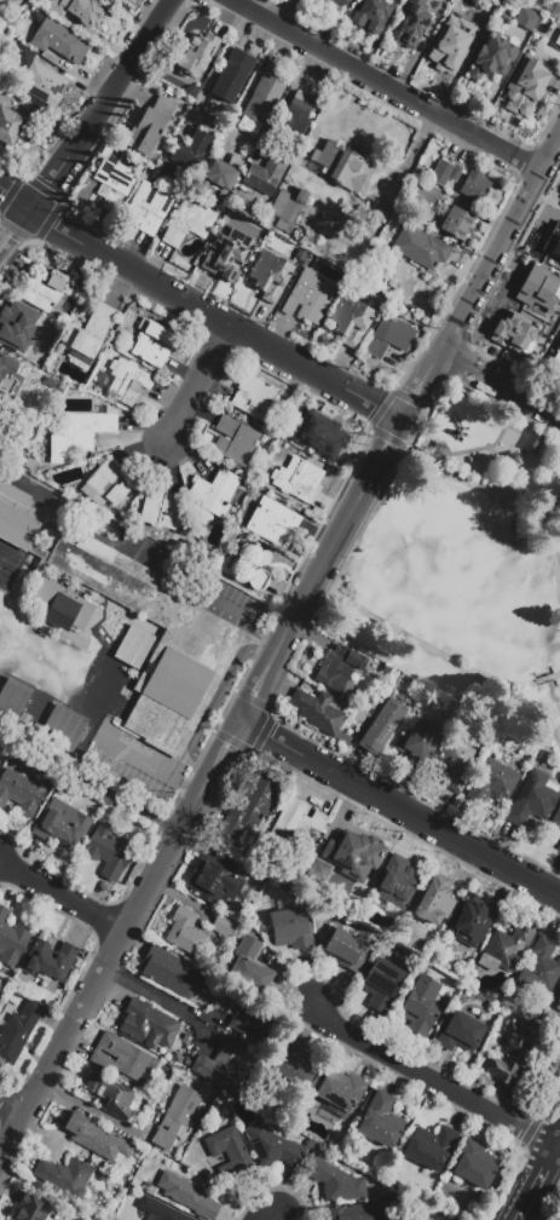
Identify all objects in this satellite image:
building: (110, 0)
building: (335, 2)
building: (13, 4)
building: (29, 5)
building: (554, 11)
building: (80, 12)
building: (373, 16)
building: (529, 23)
building: (480, 24)
building: (411, 25)
building: (60, 45)
building: (448, 51)
building: (195, 56)
building: (23, 58)
building: (491, 61)
road: (218, 65)
building: (233, 79)
road: (386, 84)
building: (44, 87)
building: (525, 88)
road: (285, 97)
road: (100, 104)
building: (262, 107)
building: (299, 115)
building: (151, 130)
building: (16, 132)
building: (191, 154)
building: (340, 169)
building: (115, 174)
building: (446, 175)
building: (221, 178)
building: (266, 178)
building: (477, 191)
building: (425, 195)
building: (106, 205)
building: (150, 211)
building: (289, 211)
building: (457, 225)
building: (190, 226)
road: (13, 228)
road: (500, 240)
building: (553, 241)
building: (422, 251)
building: (232, 257)
building: (271, 278)
building: (537, 288)
building: (47, 290)
building: (310, 301)
road: (200, 307)
building: (352, 324)
building: (18, 327)
building: (512, 330)
building: (87, 338)
building: (391, 339)
building: (151, 346)
building: (553, 355)
road: (457, 363)
building: (10, 380)
building: (127, 381)
road: (206, 387)
road: (518, 396)
building: (256, 401)
road: (399, 426)
building: (322, 437)
building: (80, 438)
building: (536, 443)
building: (237, 444)
road: (490, 447)
building: (512, 460)
building: (298, 479)
road: (477, 484)
building: (108, 488)
building: (214, 499)
building: (162, 512)
building: (18, 519)
building: (275, 526)
road: (143, 551)
road: (553, 552)
park: (6, 562)
road: (319, 566)
park: (466, 566)
building: (252, 569)
road: (559, 579)
building: (60, 605)
road: (416, 641)
building: (133, 648)
building: (192, 652)
building: (339, 668)
road: (556, 675)
road: (256, 679)
road: (539, 680)
building: (12, 698)
road: (215, 700)
building: (319, 714)
building: (360, 715)
building: (25, 720)
building: (60, 727)
building: (385, 727)
building: (420, 747)
road: (213, 759)
building: (11, 761)
road: (146, 765)
building: (456, 767)
building: (30, 770)
building: (492, 785)
building: (21, 790)
building: (531, 800)
road: (397, 810)
building: (250, 811)
building: (556, 823)
building: (62, 824)
building: (296, 825)
building: (559, 850)
building: (110, 854)
building: (354, 857)
building: (317, 870)
building: (217, 881)
building: (398, 885)
road: (60, 899)
building: (434, 905)
building: (470, 925)
building: (225, 931)
building: (293, 932)
building: (186, 936)
building: (11, 943)
building: (346, 950)
building: (507, 951)
building: (51, 965)
building: (250, 969)
building: (541, 969)
building: (173, 976)
road: (97, 979)
building: (383, 989)
building: (0, 997)
road: (154, 997)
building: (558, 1008)
building: (421, 1009)
building: (252, 1023)
building: (149, 1028)
building: (18, 1036)
building: (462, 1036)
building: (186, 1041)
building: (513, 1055)
building: (177, 1059)
building: (125, 1063)
building: (295, 1067)
building: (221, 1070)
road: (427, 1081)
building: (341, 1093)
building: (111, 1099)
road: (11, 1115)
road: (550, 1120)
building: (177, 1121)
building: (382, 1124)
building: (94, 1138)
road: (556, 1138)
road: (556, 1143)
building: (275, 1150)
building: (432, 1150)
building: (232, 1157)
road: (544, 1164)
building: (475, 1168)
building: (65, 1180)
building: (337, 1185)
building: (189, 1198)
road: (525, 1201)
building: (34, 1210)
building: (158, 1212)
building: (359, 1213)
road: (271, 1218)

